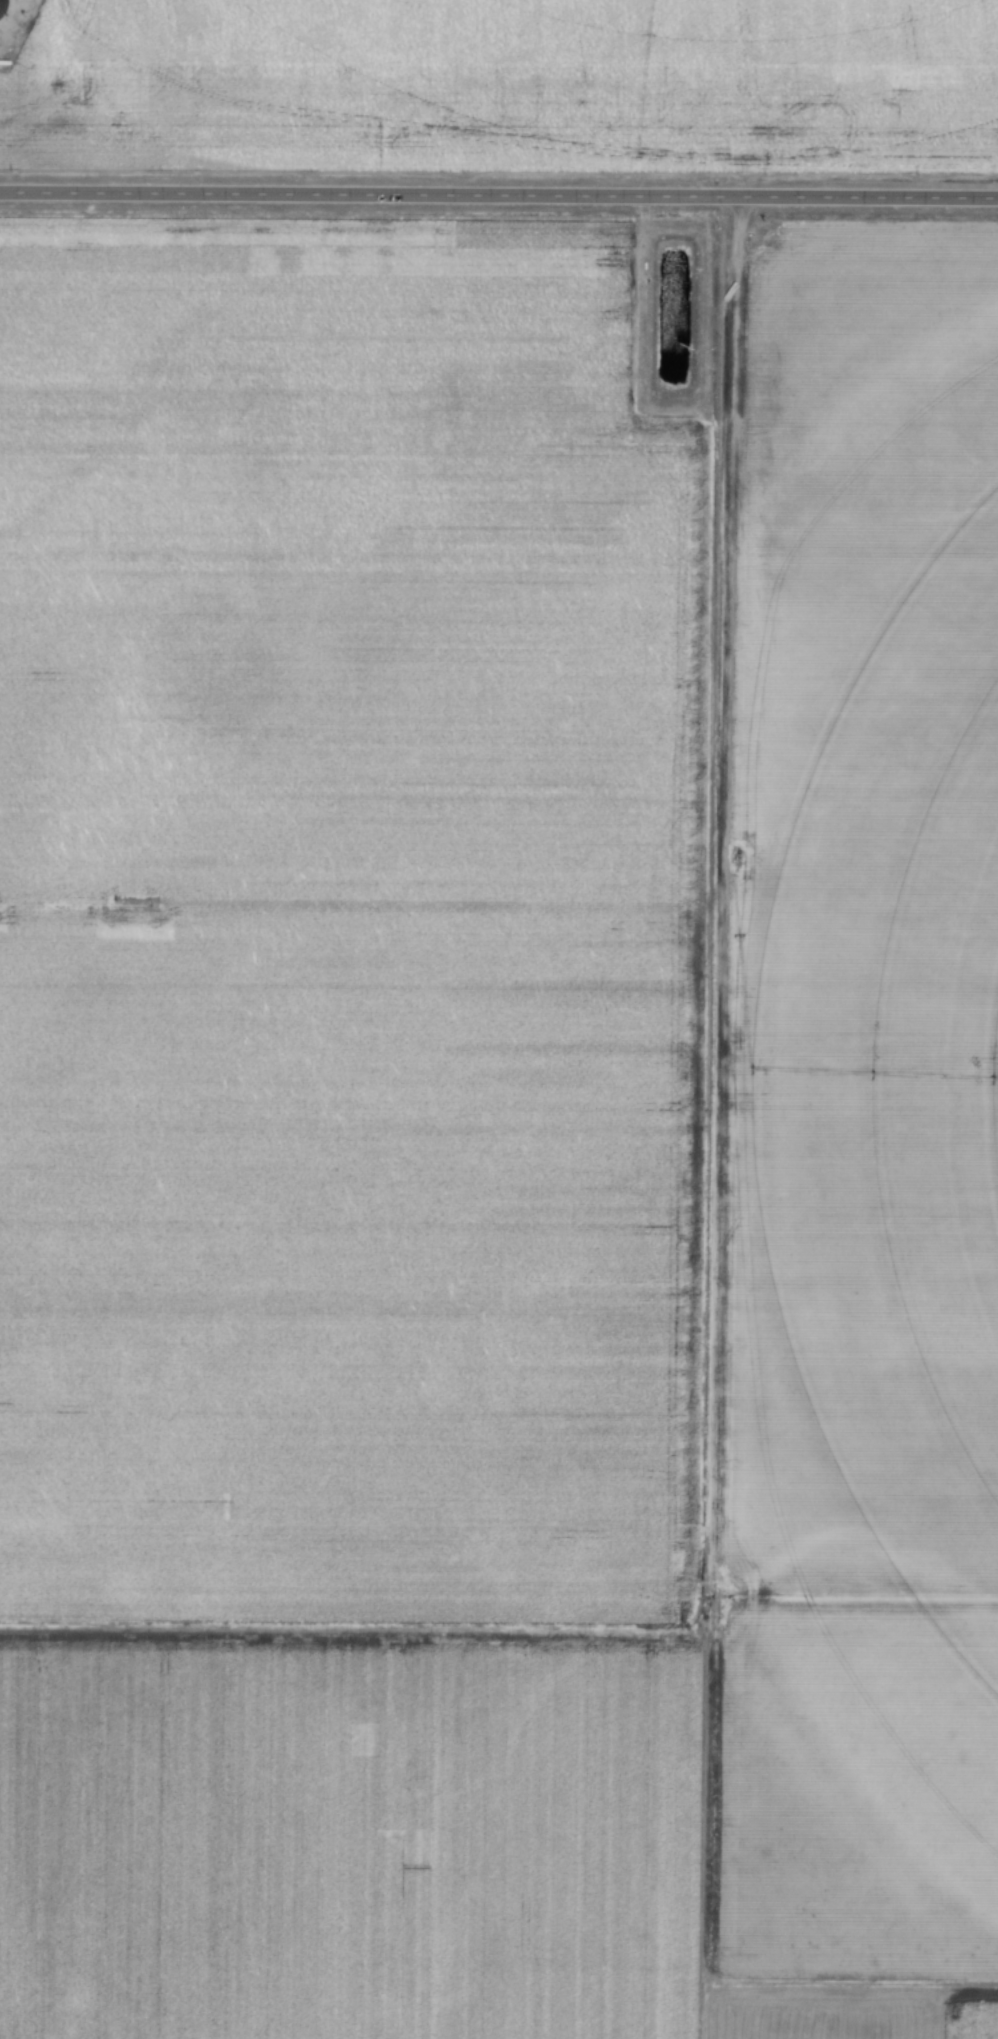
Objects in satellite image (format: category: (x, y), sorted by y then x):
road: (499, 200)

